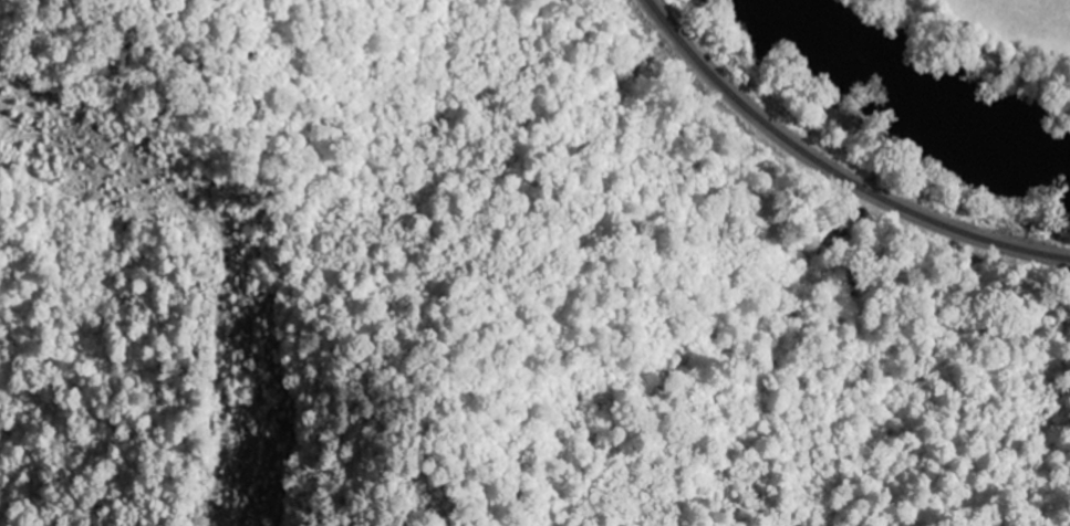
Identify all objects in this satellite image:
river: (959, 53)
railway: (833, 169)

